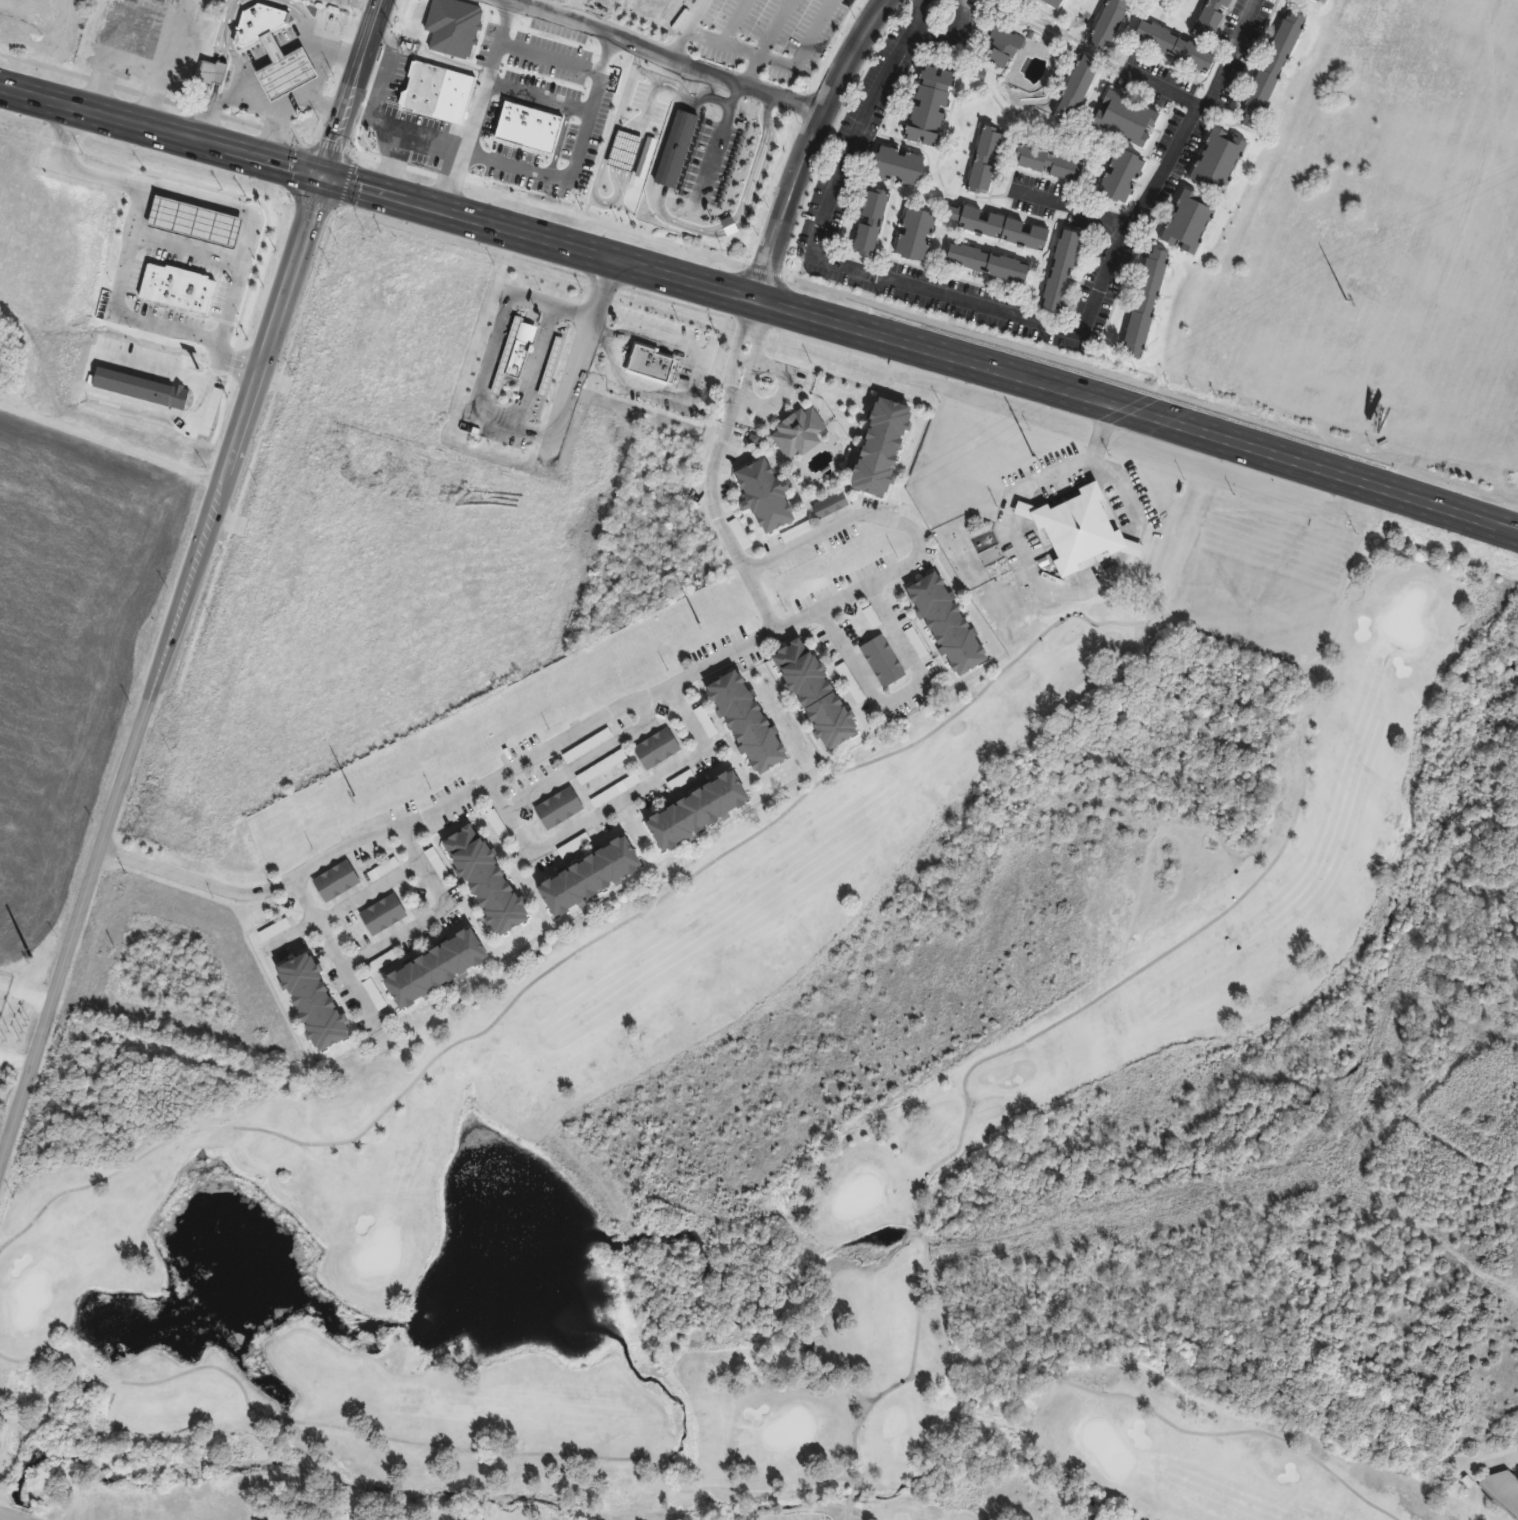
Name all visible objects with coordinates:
building: (134, 0)
building: (160, 1)
building: (1056, 2)
building: (1321, 2)
road: (302, 8)
building: (1214, 19)
road: (732, 20)
building: (1110, 24)
road: (683, 29)
road: (227, 38)
road: (500, 39)
road: (763, 42)
building: (1176, 47)
building: (1004, 49)
road: (276, 51)
building: (276, 52)
road: (666, 59)
road: (772, 60)
road: (598, 70)
building: (1272, 71)
road: (321, 77)
road: (351, 88)
road: (652, 88)
building: (1078, 89)
road: (1167, 91)
road: (367, 93)
building: (438, 93)
road: (734, 94)
road: (709, 96)
road: (253, 104)
road: (328, 107)
building: (931, 107)
road: (747, 108)
building: (1127, 120)
road: (381, 123)
road: (575, 141)
building: (494, 143)
road: (810, 145)
road: (675, 146)
road: (604, 149)
road: (622, 149)
road: (713, 152)
road: (757, 159)
building: (987, 161)
building: (1219, 161)
building: (1050, 164)
building: (900, 167)
building: (1122, 177)
traffic signals: (324, 178)
road: (221, 205)
road: (1077, 210)
road: (674, 221)
building: (872, 223)
building: (1189, 223)
road: (727, 224)
building: (997, 227)
building: (917, 236)
building: (989, 264)
road: (761, 269)
building: (1063, 272)
power tower: (1346, 300)
road: (761, 302)
building: (1146, 305)
road: (993, 312)
road: (130, 318)
road: (491, 350)
road: (582, 350)
building: (514, 353)
building: (1, 359)
road: (227, 361)
road: (749, 363)
building: (553, 364)
building: (647, 365)
road: (699, 371)
building: (801, 434)
building: (879, 451)
power tower: (1033, 455)
road: (1124, 493)
building: (766, 495)
road: (1003, 528)
building: (1080, 530)
road: (926, 533)
road: (1130, 547)
road: (1360, 587)
building: (946, 622)
power tower: (700, 624)
building: (883, 661)
road: (158, 668)
building: (816, 696)
road: (909, 700)
road: (633, 715)
building: (749, 725)
building: (589, 746)
building: (659, 749)
building: (603, 767)
building: (682, 781)
building: (616, 791)
power tower: (356, 797)
road: (625, 806)
building: (560, 808)
building: (698, 817)
building: (382, 871)
road: (190, 878)
building: (484, 879)
building: (337, 881)
building: (592, 881)
road: (678, 883)
road: (374, 888)
building: (384, 914)
road: (397, 944)
power tower: (30, 957)
building: (433, 970)
power substation: (5, 991)
building: (318, 1003)
road: (1019, 1042)
park: (773, 1123)
road: (1161, 1416)
road: (415, 1439)
road: (843, 1512)
road: (6, 1518)
road: (8, 1519)

